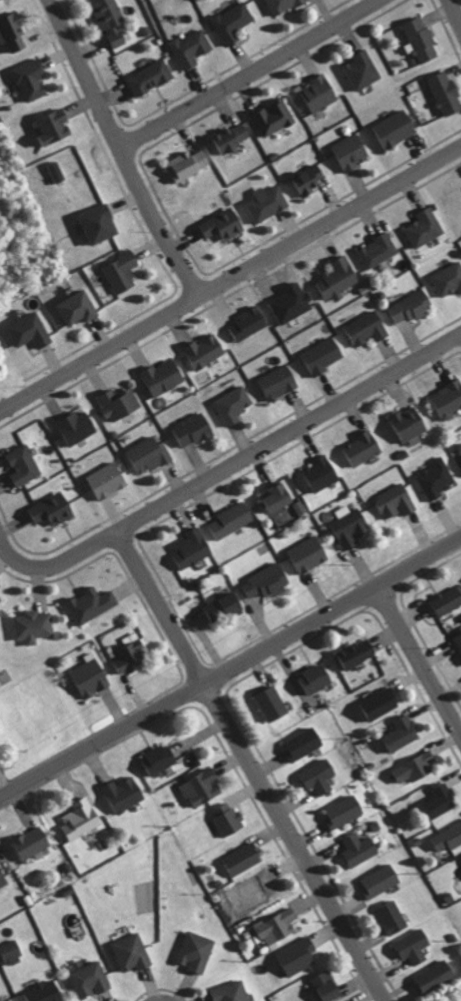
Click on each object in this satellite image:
building: (283, 5)
road: (452, 18)
building: (112, 21)
building: (233, 22)
building: (13, 32)
building: (423, 40)
building: (192, 47)
road: (248, 70)
building: (363, 70)
building: (150, 77)
building: (32, 79)
building: (320, 92)
building: (447, 92)
building: (274, 117)
building: (55, 126)
building: (396, 128)
building: (231, 137)
building: (353, 151)
building: (188, 164)
building: (56, 171)
building: (309, 179)
building: (268, 202)
road: (329, 221)
building: (100, 223)
building: (224, 224)
building: (426, 227)
road: (175, 249)
building: (378, 250)
building: (124, 271)
building: (339, 278)
building: (448, 279)
building: (411, 307)
building: (78, 308)
building: (249, 324)
building: (368, 328)
building: (31, 330)
building: (207, 350)
building: (324, 355)
building: (165, 376)
building: (279, 382)
building: (448, 399)
building: (120, 403)
building: (235, 404)
building: (409, 424)
building: (76, 426)
building: (194, 429)
road: (288, 432)
building: (363, 449)
building: (150, 454)
building: (24, 465)
building: (322, 472)
building: (436, 478)
building: (108, 480)
building: (278, 496)
building: (397, 501)
building: (53, 509)
building: (232, 519)
building: (351, 525)
building: (192, 548)
building: (310, 553)
road: (50, 557)
building: (268, 581)
building: (1, 600)
building: (448, 600)
building: (92, 604)
building: (225, 607)
road: (160, 608)
road: (333, 612)
building: (34, 626)
building: (459, 639)
building: (357, 653)
building: (131, 654)
road: (419, 660)
building: (91, 676)
building: (318, 678)
building: (273, 703)
building: (380, 703)
building: (403, 732)
building: (305, 741)
road: (103, 742)
building: (159, 758)
building: (417, 766)
building: (319, 775)
building: (202, 786)
building: (125, 792)
building: (441, 799)
building: (346, 810)
building: (81, 818)
building: (228, 818)
building: (449, 837)
building: (32, 841)
road: (295, 843)
building: (360, 848)
building: (242, 858)
building: (3, 875)
building: (381, 879)
building: (257, 890)
building: (393, 916)
building: (278, 925)
building: (414, 945)
building: (197, 950)
building: (12, 951)
building: (133, 951)
building: (298, 955)
building: (436, 975)
building: (91, 979)
building: (328, 984)
building: (233, 991)
building: (46, 992)
building: (9, 999)

